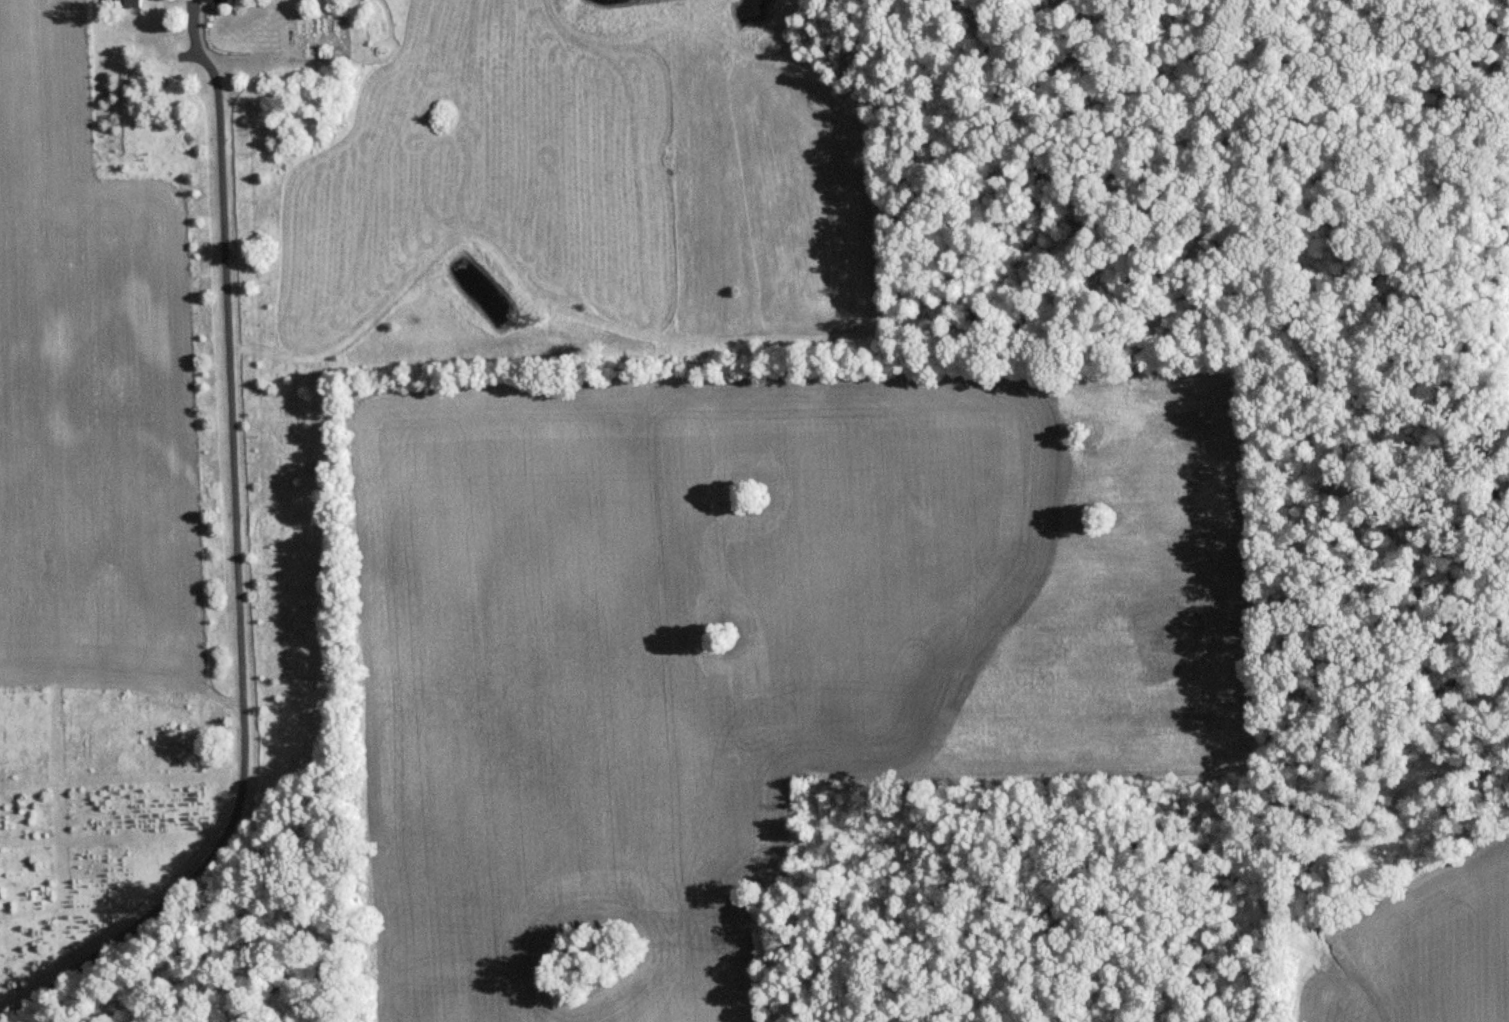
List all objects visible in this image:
building: (224, 1)
building: (126, 3)
crop: (91, 387)
road: (237, 562)
crop: (751, 645)
crop: (1426, 949)

